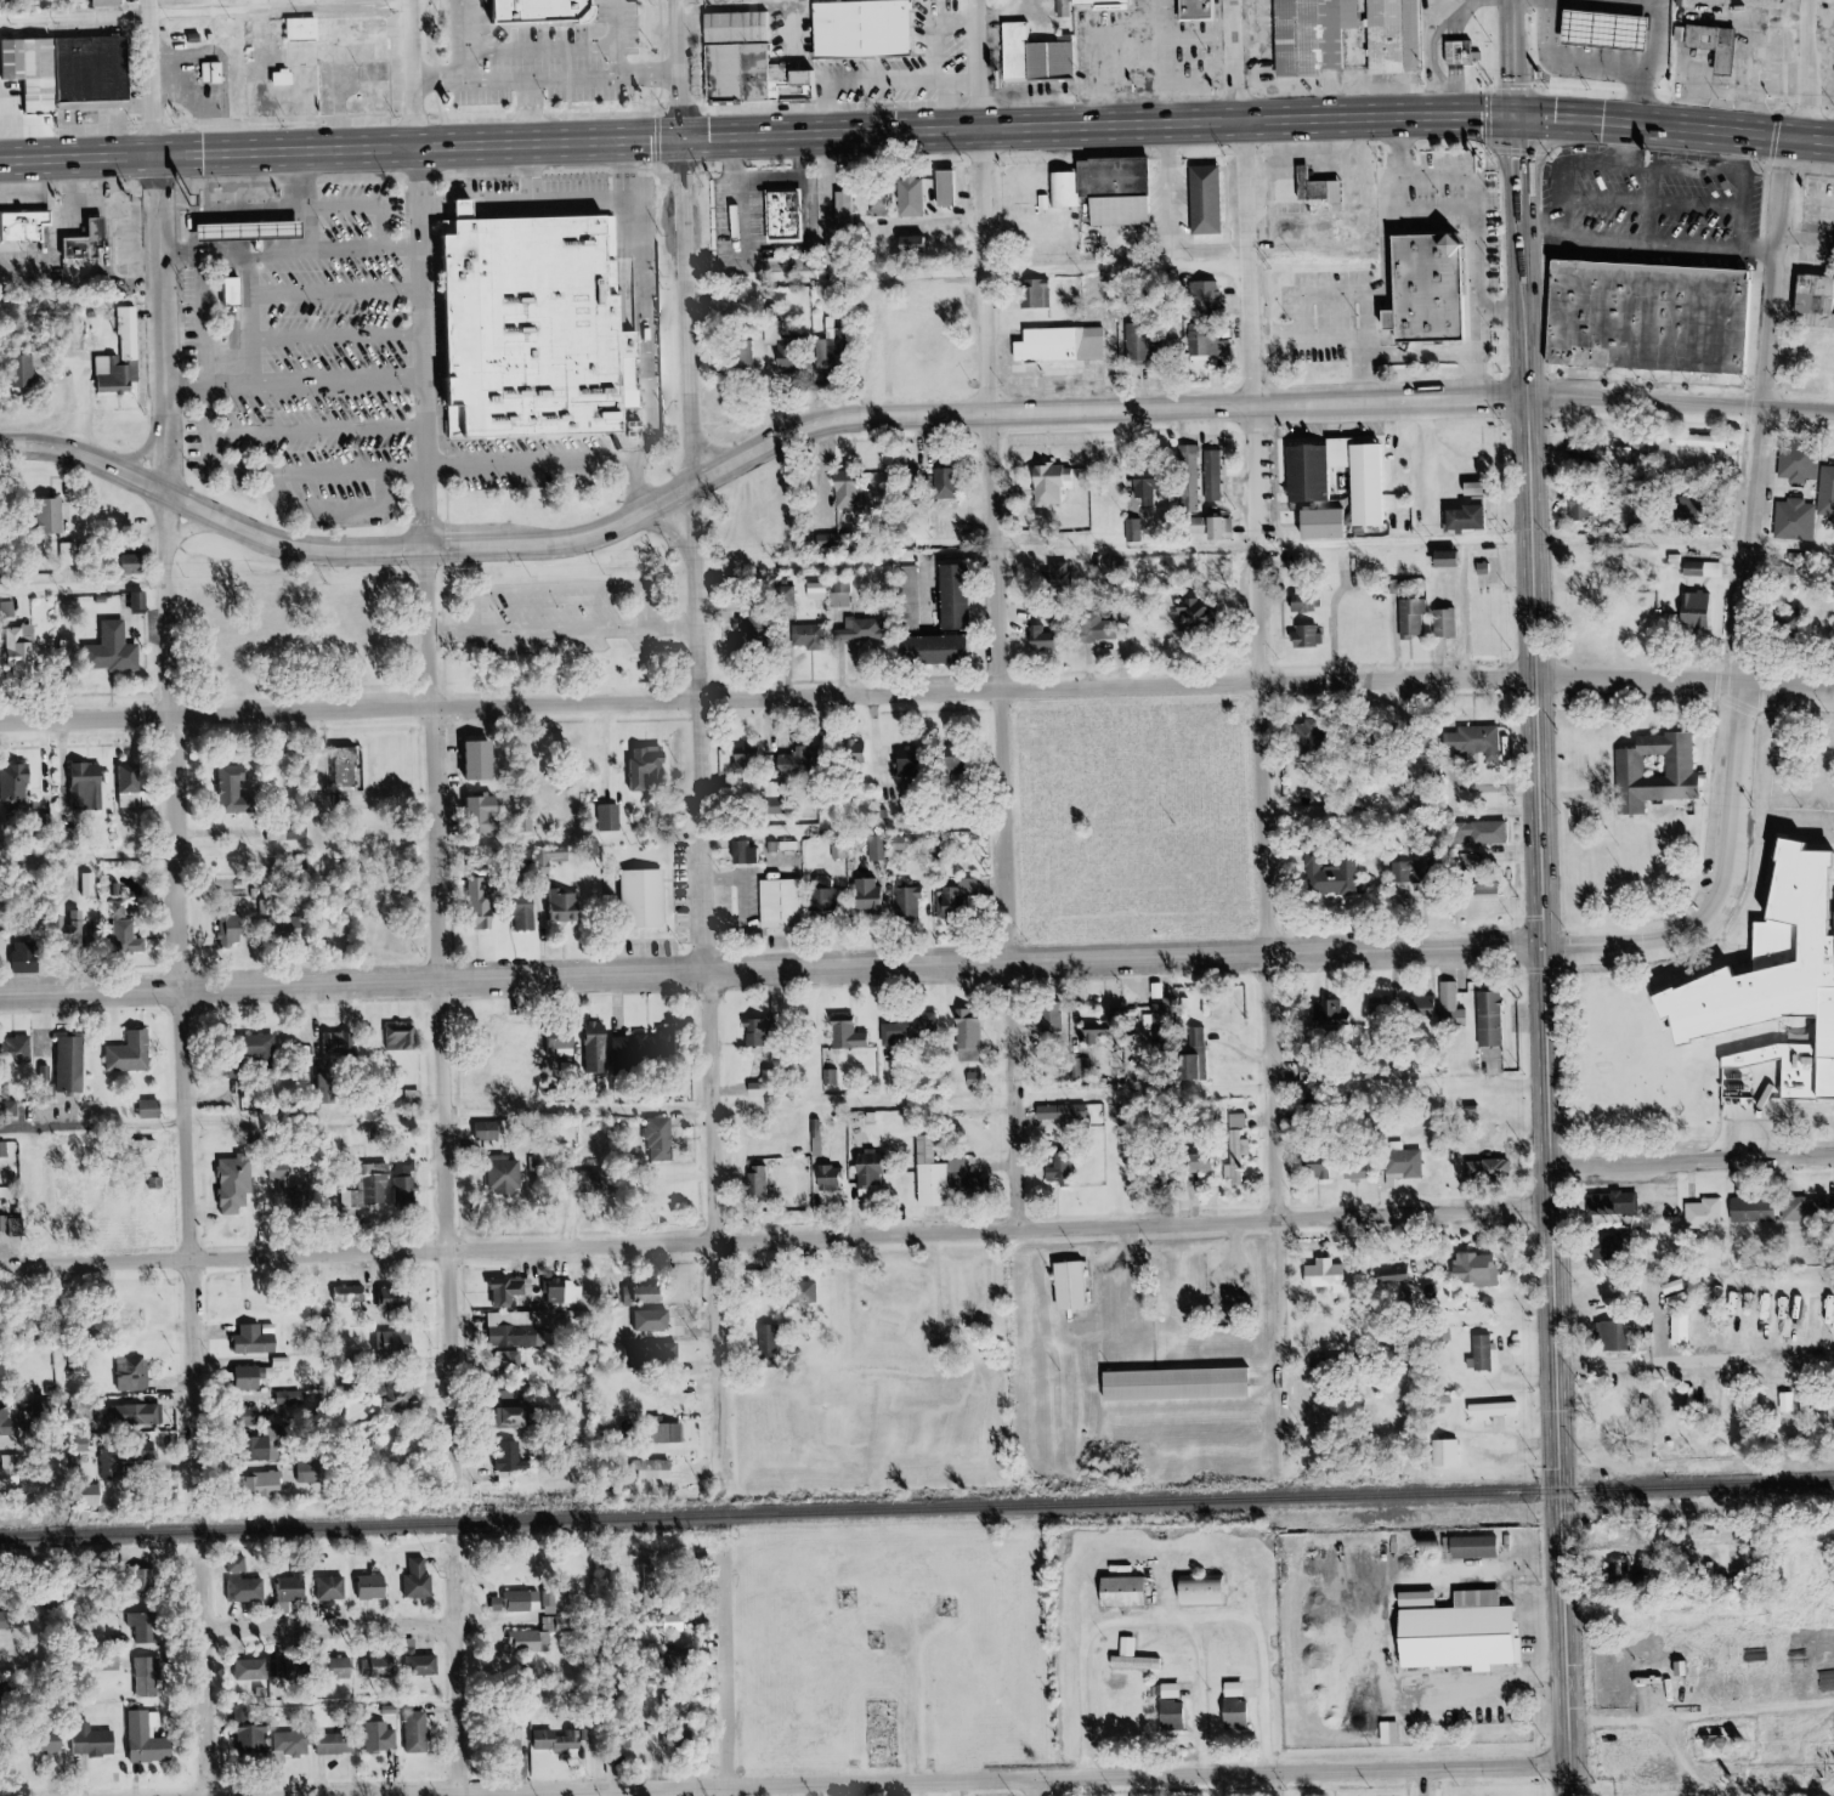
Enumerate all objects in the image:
building: (47, 0)
building: (1115, 1)
building: (118, 2)
road: (420, 4)
road: (272, 5)
road: (300, 5)
building: (1077, 9)
building: (1210, 9)
building: (550, 11)
road: (210, 12)
road: (1470, 17)
road: (1170, 19)
road: (1232, 21)
road: (967, 24)
road: (1138, 26)
building: (752, 27)
building: (313, 28)
road: (808, 28)
building: (877, 28)
road: (1470, 28)
road: (447, 33)
building: (1325, 35)
building: (1406, 35)
road: (634, 36)
building: (206, 38)
building: (1728, 40)
road: (1210, 41)
building: (1711, 46)
road: (545, 47)
road: (1461, 52)
building: (1465, 52)
road: (1468, 52)
road: (1522, 56)
road: (1798, 58)
building: (1036, 60)
road: (1233, 60)
road: (471, 62)
road: (1448, 64)
road: (1810, 68)
building: (41, 69)
building: (104, 69)
road: (236, 69)
road: (673, 69)
road: (1106, 73)
building: (223, 74)
building: (294, 75)
road: (616, 75)
building: (1411, 75)
road: (539, 77)
road: (424, 78)
road: (1204, 79)
road: (1241, 79)
road: (1173, 80)
road: (921, 83)
road: (968, 83)
road: (1461, 89)
road: (1468, 89)
road: (836, 107)
traffic signals: (1524, 112)
road: (904, 126)
traffic signals: (694, 135)
road: (1821, 138)
road: (1787, 140)
road: (1665, 165)
road: (319, 180)
road: (786, 182)
building: (960, 183)
building: (1079, 185)
building: (1324, 185)
building: (946, 188)
road: (1489, 192)
building: (924, 196)
building: (1218, 197)
building: (910, 198)
parking lot: (1663, 198)
road: (748, 200)
road: (471, 202)
road: (1664, 204)
road: (1663, 205)
road: (471, 208)
road: (355, 209)
road: (240, 211)
building: (798, 213)
building: (843, 222)
building: (27, 223)
road: (941, 225)
building: (260, 228)
gas station: (260, 228)
road: (222, 231)
road: (242, 231)
road: (300, 233)
road: (282, 234)
road: (56, 236)
road: (260, 236)
building: (924, 240)
building: (91, 243)
road: (115, 243)
road: (1659, 244)
building: (910, 245)
road: (170, 247)
road: (345, 253)
road: (820, 255)
road: (1400, 270)
road: (980, 272)
road: (1770, 276)
building: (1444, 285)
building: (238, 290)
road: (1328, 293)
road: (349, 294)
building: (1034, 295)
building: (1204, 298)
building: (1813, 300)
road: (1490, 305)
road: (244, 310)
road: (1512, 311)
road: (1558, 312)
building: (1663, 315)
road: (266, 321)
building: (545, 324)
building: (131, 333)
building: (772, 335)
road: (350, 339)
building: (1221, 340)
road: (1261, 340)
building: (1153, 342)
road: (219, 344)
building: (1137, 344)
road: (434, 349)
building: (1072, 349)
road: (1319, 350)
road: (1448, 350)
building: (1167, 351)
building: (1830, 352)
building: (837, 356)
road: (663, 370)
building: (114, 376)
road: (351, 381)
road: (1558, 383)
road: (1686, 403)
road: (1756, 403)
road: (1560, 410)
building: (1699, 442)
road: (222, 451)
road: (749, 452)
road: (154, 453)
building: (1581, 461)
building: (1796, 464)
road: (834, 470)
building: (1323, 475)
building: (1211, 476)
building: (1188, 478)
building: (910, 480)
building: (1064, 480)
building: (960, 482)
building: (1144, 482)
building: (1381, 482)
building: (945, 483)
building: (862, 485)
building: (1048, 485)
road: (707, 486)
building: (1489, 486)
building: (844, 491)
building: (1825, 493)
building: (1578, 509)
road: (350, 511)
building: (57, 514)
building: (1477, 517)
building: (1793, 522)
building: (1337, 526)
building: (955, 527)
building: (940, 528)
building: (1206, 529)
road: (1761, 534)
road: (1031, 538)
road: (1563, 539)
road: (1744, 542)
road: (1404, 543)
building: (828, 545)
building: (137, 560)
building: (1444, 560)
building: (1399, 562)
building: (1692, 567)
building: (1055, 577)
road: (89, 587)
road: (576, 588)
building: (839, 591)
building: (951, 597)
building: (908, 599)
building: (141, 600)
building: (1301, 604)
building: (1708, 611)
parking lot: (576, 614)
road: (1009, 614)
building: (1691, 614)
building: (1191, 617)
building: (1410, 619)
building: (1785, 623)
building: (1444, 624)
road: (576, 631)
building: (851, 631)
building: (1304, 638)
building: (809, 639)
building: (1041, 639)
building: (124, 648)
building: (22, 650)
parking lot: (481, 650)
building: (930, 652)
road: (1546, 662)
road: (1568, 680)
road: (1728, 687)
road: (916, 692)
road: (1773, 692)
road: (1651, 708)
road: (1636, 709)
road: (1748, 715)
road: (1802, 720)
road: (1642, 736)
building: (1307, 738)
building: (1470, 743)
road: (334, 747)
building: (489, 758)
building: (850, 759)
building: (650, 765)
building: (789, 765)
building: (950, 765)
building: (904, 766)
building: (360, 767)
building: (1700, 774)
road: (340, 776)
building: (18, 782)
building: (239, 782)
building: (87, 783)
building: (138, 787)
road: (1768, 789)
road: (1717, 793)
road: (409, 799)
road: (377, 803)
building: (1765, 808)
building: (489, 812)
road: (1625, 816)
park: (1144, 821)
road: (1569, 827)
building: (1478, 834)
building: (877, 849)
building: (555, 855)
road: (1764, 872)
building: (1416, 876)
building: (1334, 879)
building: (645, 897)
building: (866, 897)
building: (906, 900)
building: (953, 900)
building: (779, 903)
building: (822, 906)
building: (566, 907)
building: (119, 910)
building: (530, 914)
building: (299, 927)
building: (237, 930)
building: (129, 936)
road: (1632, 946)
road: (1720, 947)
road: (777, 970)
road: (1553, 971)
road: (1747, 987)
road: (181, 995)
building: (1415, 1003)
building: (1462, 1004)
road: (452, 1005)
building: (1449, 1009)
building: (1381, 1010)
building: (1326, 1014)
building: (1501, 1015)
building: (1488, 1020)
building: (1157, 1021)
park: (1698, 1026)
building: (907, 1030)
building: (967, 1031)
building: (760, 1033)
building: (845, 1036)
building: (403, 1037)
building: (344, 1039)
building: (268, 1044)
building: (645, 1044)
building: (18, 1049)
building: (134, 1053)
building: (601, 1053)
road: (1283, 1056)
building: (1202, 1063)
building: (73, 1064)
building: (1080, 1072)
road: (1518, 1082)
building: (154, 1110)
building: (1074, 1111)
building: (860, 1124)
building: (494, 1131)
road: (1527, 1138)
building: (1234, 1146)
building: (1210, 1158)
road: (1696, 1160)
building: (1416, 1161)
building: (1196, 1162)
building: (1354, 1167)
building: (1501, 1167)
building: (1369, 1168)
building: (1072, 1169)
building: (1315, 1169)
building: (400, 1171)
building: (508, 1172)
building: (1057, 1172)
building: (596, 1175)
building: (867, 1175)
building: (927, 1177)
building: (828, 1180)
building: (238, 1184)
building: (966, 1185)
road: (1396, 1197)
road: (1369, 1201)
building: (1625, 1201)
building: (1833, 1208)
building: (1748, 1212)
building: (1804, 1212)
building: (1700, 1217)
road: (717, 1223)
building: (1640, 1231)
road: (779, 1240)
building: (1495, 1241)
building: (1623, 1245)
building: (1606, 1250)
building: (1489, 1265)
building: (1338, 1271)
building: (1472, 1271)
building: (1409, 1273)
building: (1389, 1276)
building: (770, 1279)
building: (1085, 1284)
building: (1066, 1287)
building: (1672, 1287)
building: (816, 1292)
building: (800, 1293)
road: (1142, 1305)
building: (1788, 1314)
building: (1679, 1332)
building: (1629, 1333)
building: (782, 1337)
building: (768, 1341)
building: (250, 1342)
building: (387, 1344)
building: (1496, 1352)
building: (651, 1354)
building: (1479, 1354)
road: (1698, 1359)
building: (505, 1364)
building: (1334, 1366)
building: (128, 1375)
road: (1277, 1378)
building: (247, 1379)
building: (1189, 1382)
road: (1516, 1382)
building: (394, 1400)
road: (1317, 1403)
building: (1784, 1404)
building: (1506, 1407)
building: (504, 1411)
building: (126, 1415)
building: (1613, 1415)
building: (244, 1420)
building: (1319, 1422)
building: (4, 1423)
building: (1336, 1426)
road: (1496, 1429)
road: (1510, 1432)
building: (663, 1434)
road: (1527, 1443)
building: (256, 1450)
building: (1460, 1451)
building: (1445, 1454)
building: (504, 1461)
building: (9, 1463)
building: (261, 1485)
road: (1562, 1503)
railway: (916, 1509)
building: (1467, 1546)
road: (1100, 1562)
building: (234, 1565)
building: (1621, 1574)
building: (610, 1575)
road: (1243, 1577)
building: (415, 1580)
flagpole: (1516, 1582)
building: (368, 1588)
building: (287, 1590)
building: (328, 1590)
building: (1116, 1590)
building: (244, 1591)
building: (1195, 1593)
building: (514, 1603)
building: (1, 1617)
road: (1167, 1621)
building: (141, 1626)
road: (334, 1628)
building: (533, 1632)
building: (1454, 1633)
building: (692, 1656)
building: (1131, 1659)
building: (107, 1660)
building: (418, 1666)
building: (374, 1668)
building: (247, 1671)
building: (283, 1671)
road: (717, 1676)
building: (1796, 1684)
building: (1755, 1688)
road: (701, 1690)
building: (1, 1692)
road: (1193, 1693)
building: (668, 1700)
road: (209, 1712)
road: (459, 1712)
road: (902, 1712)
building: (1229, 1712)
building: (1166, 1715)
road: (1697, 1716)
building: (1783, 1729)
building: (1382, 1732)
building: (412, 1733)
building: (605, 1736)
building: (504, 1738)
building: (548, 1739)
building: (244, 1740)
building: (667, 1740)
building: (87, 1741)
building: (141, 1741)
building: (41, 1744)
building: (374, 1744)
building: (288, 1745)
building: (330, 1745)
building: (616, 1745)
road: (573, 1767)
road: (647, 1772)
road: (601, 1777)
road: (1009, 1780)
road: (1415, 1784)
road: (1217, 1785)
road: (1267, 1785)
road: (905, 1787)
road: (958, 1787)
road: (1030, 1787)
road: (826, 1789)
road: (774, 1790)
road: (1725, 1794)

